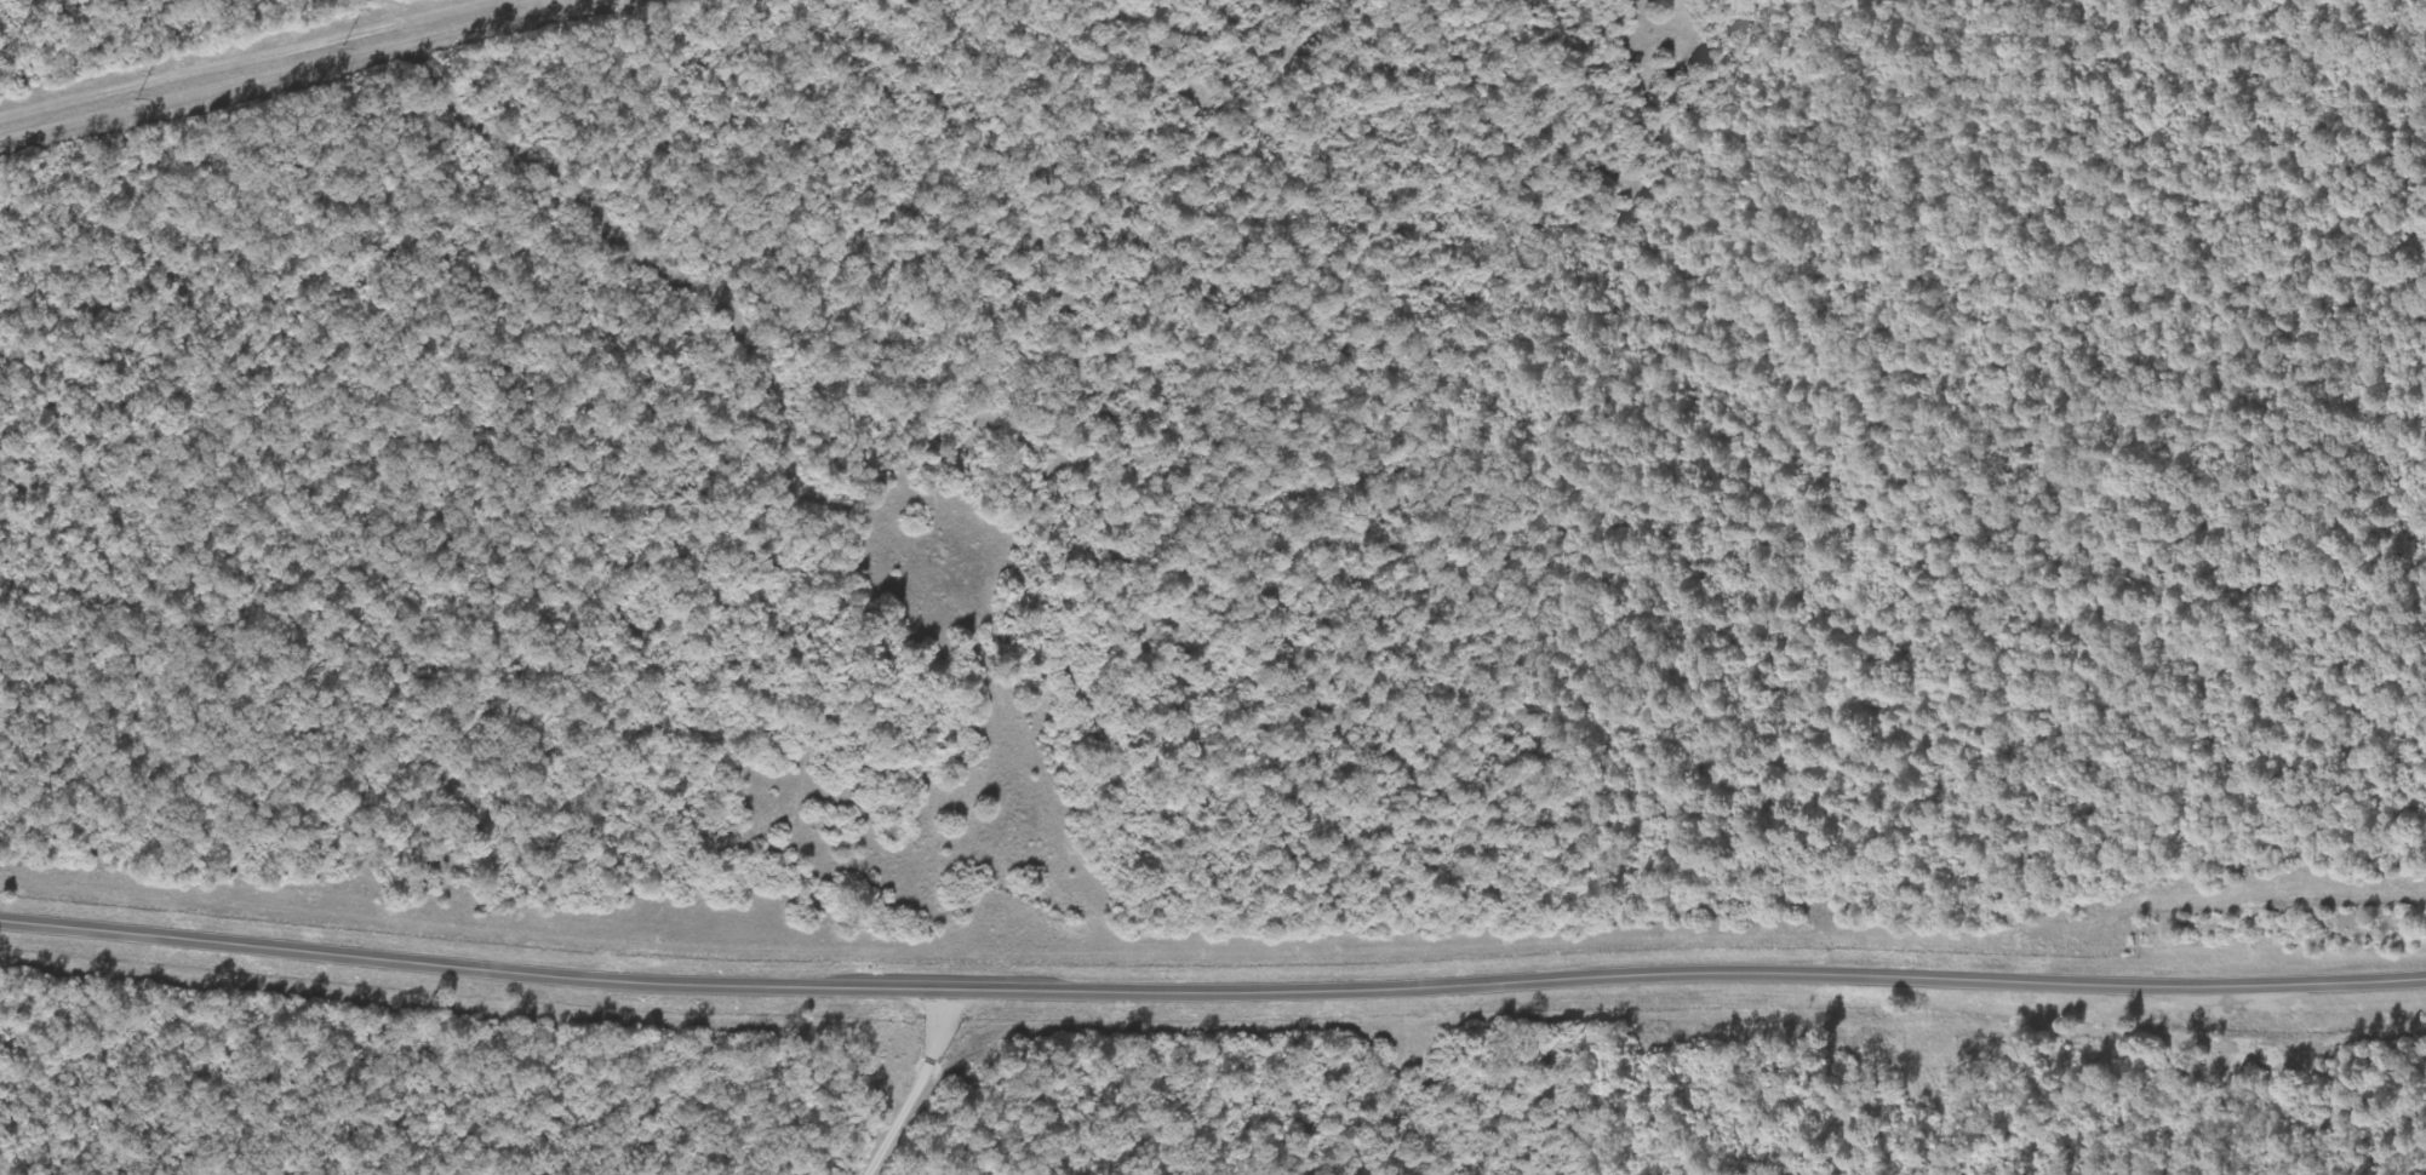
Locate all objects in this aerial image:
road: (1212, 990)
road: (916, 1084)

